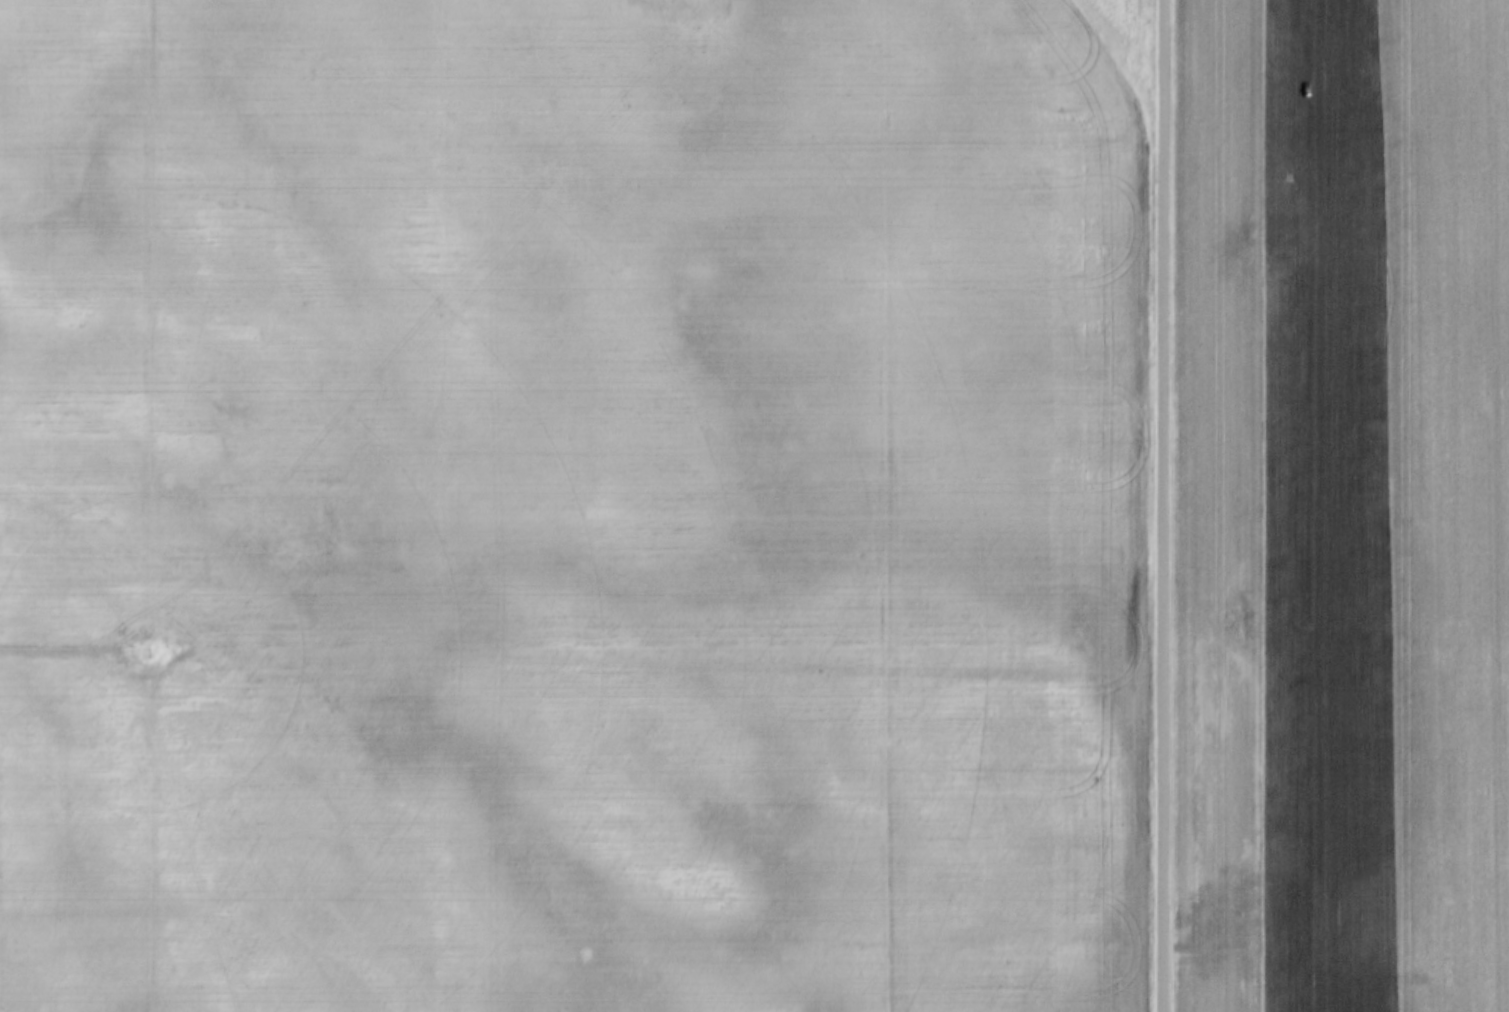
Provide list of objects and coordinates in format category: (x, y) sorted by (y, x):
road: (1158, 505)

